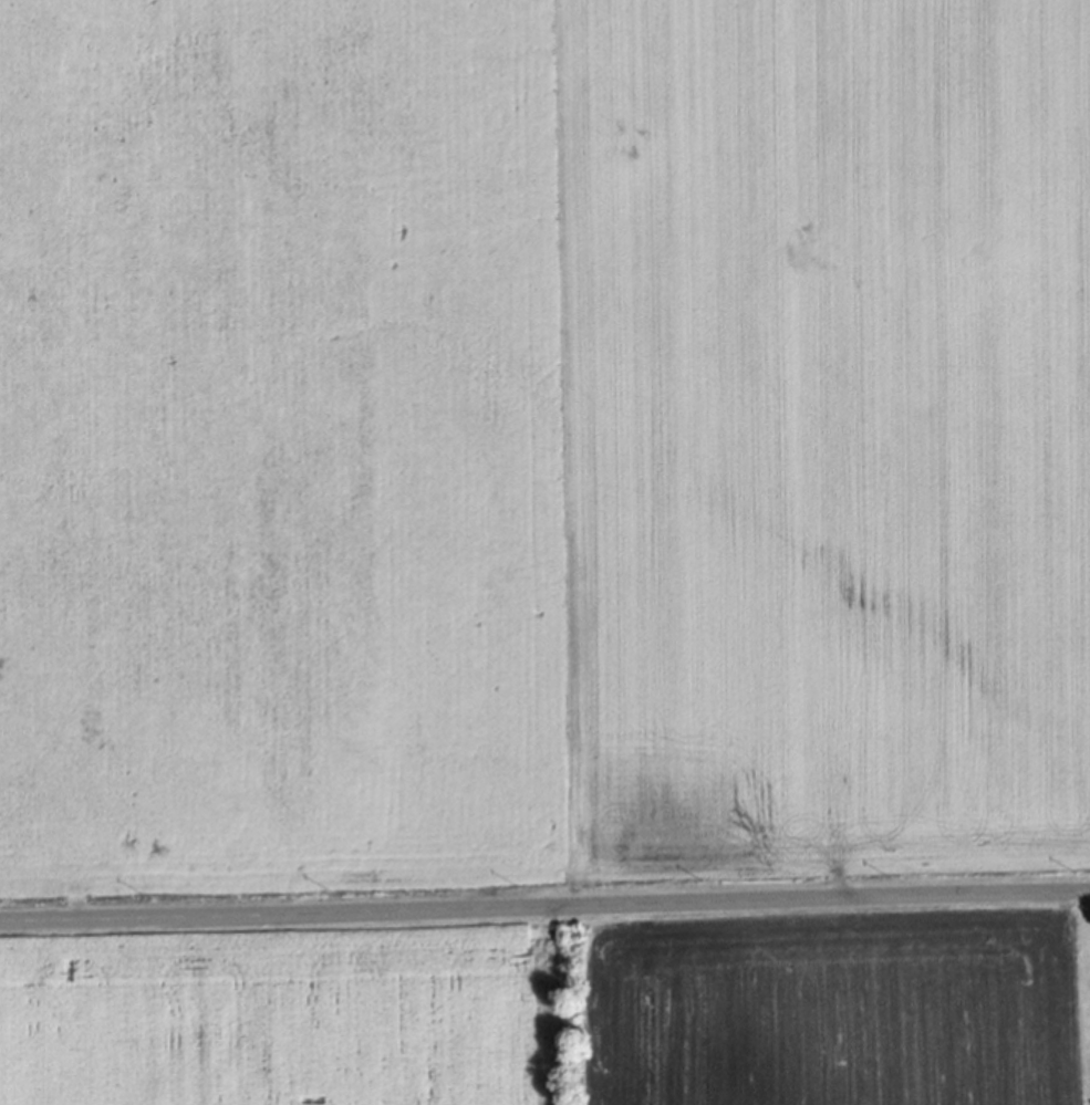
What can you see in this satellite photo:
road: (544, 898)

